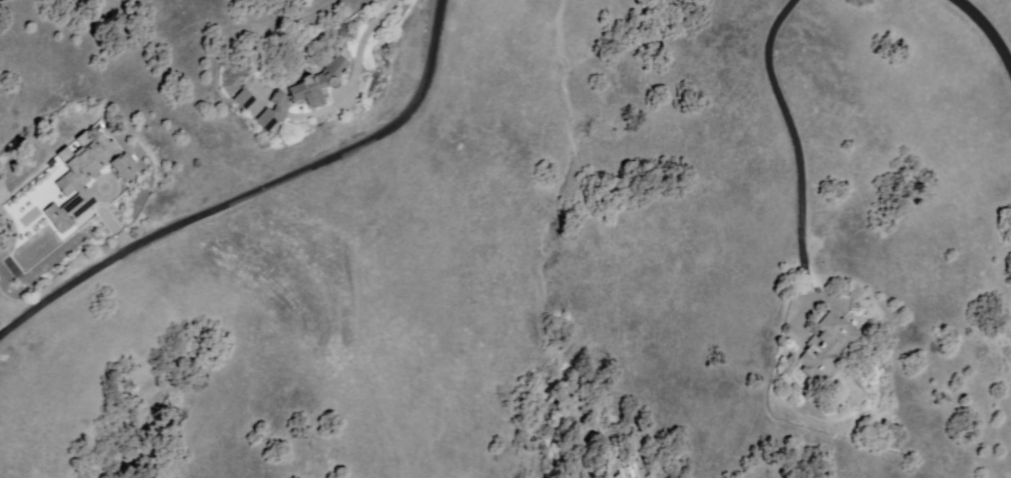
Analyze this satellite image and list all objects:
road: (988, 28)
road: (363, 48)
building: (307, 93)
building: (247, 99)
road: (796, 144)
building: (93, 177)
road: (256, 193)
building: (826, 346)
building: (630, 471)

